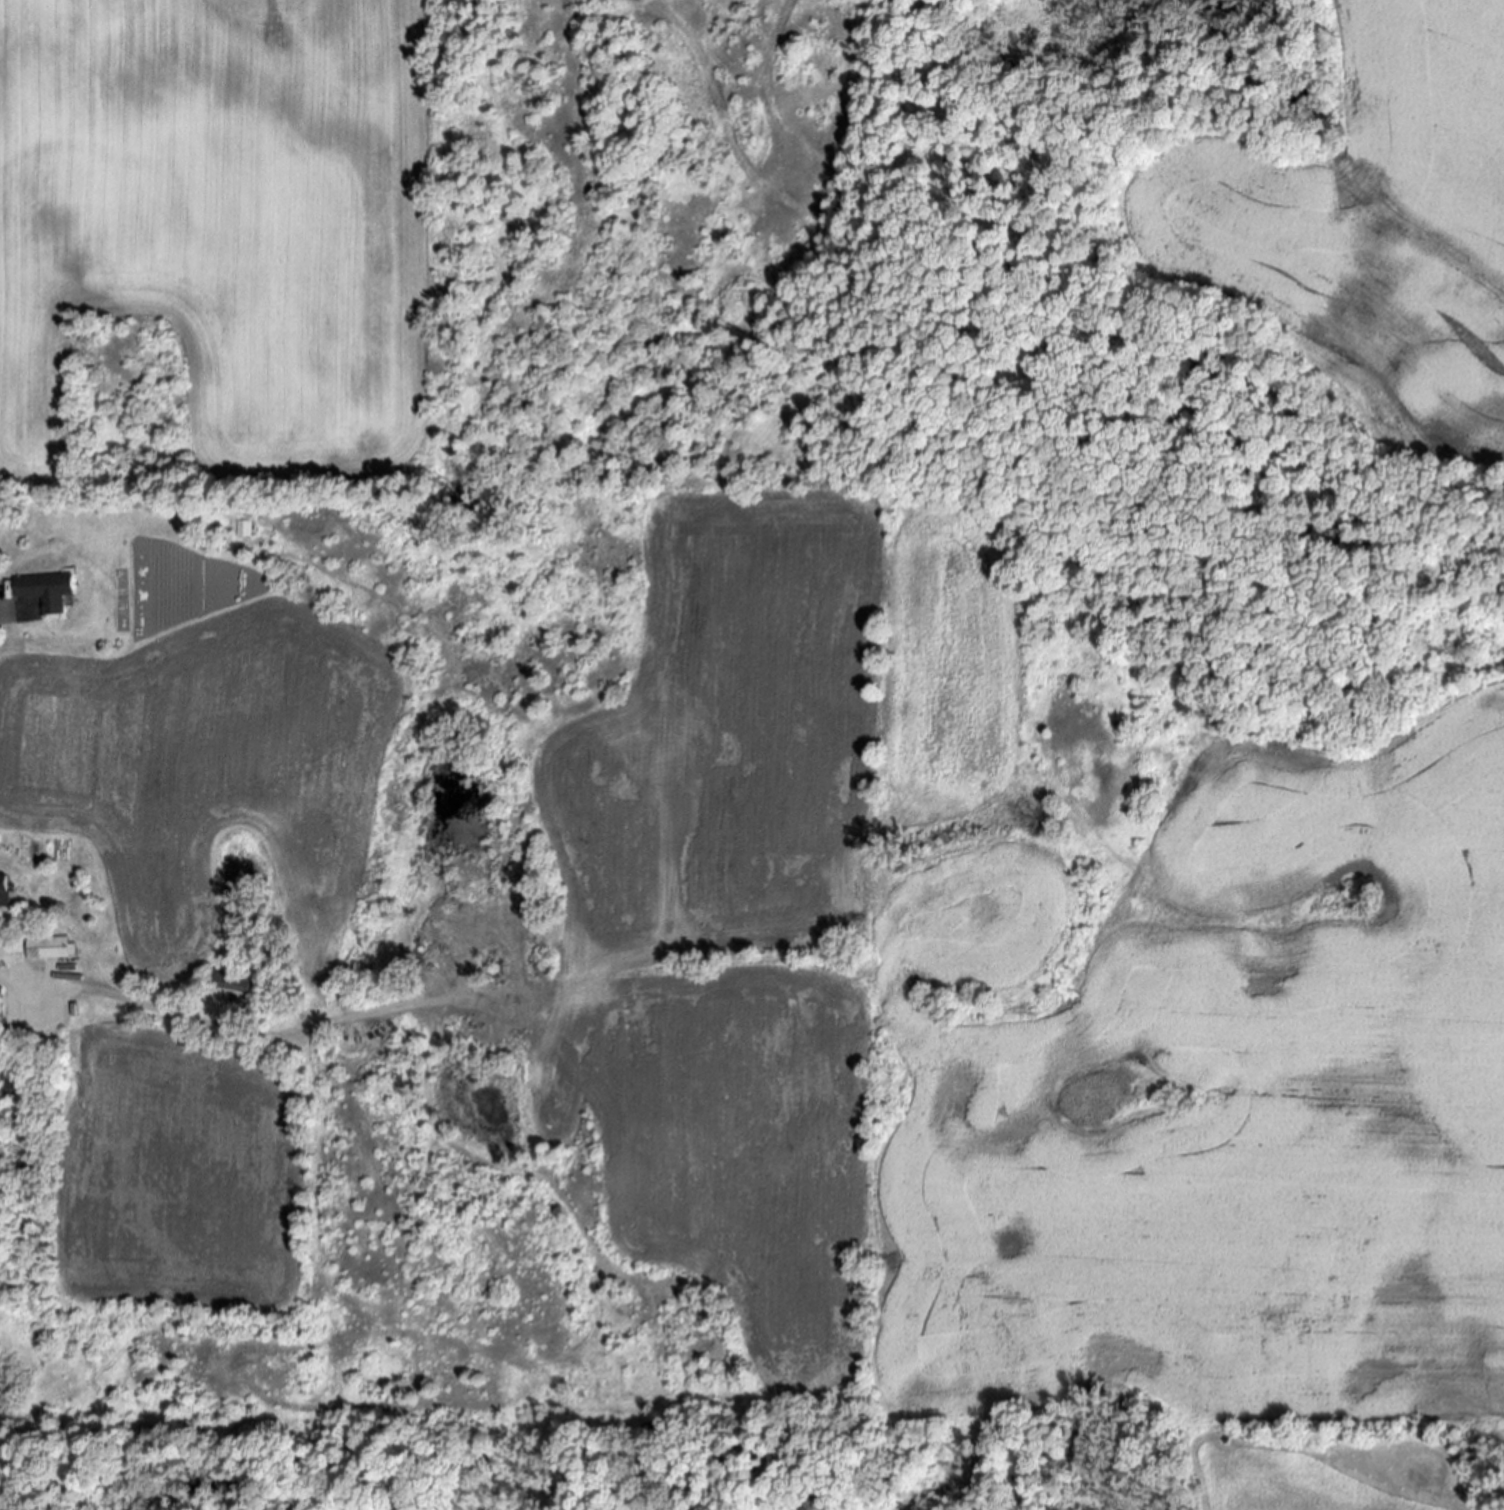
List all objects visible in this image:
building: (242, 528)
building: (47, 590)
road: (1, 621)
building: (5, 891)
building: (49, 947)
building: (230, 981)
road: (244, 1033)
building: (10, 1087)

